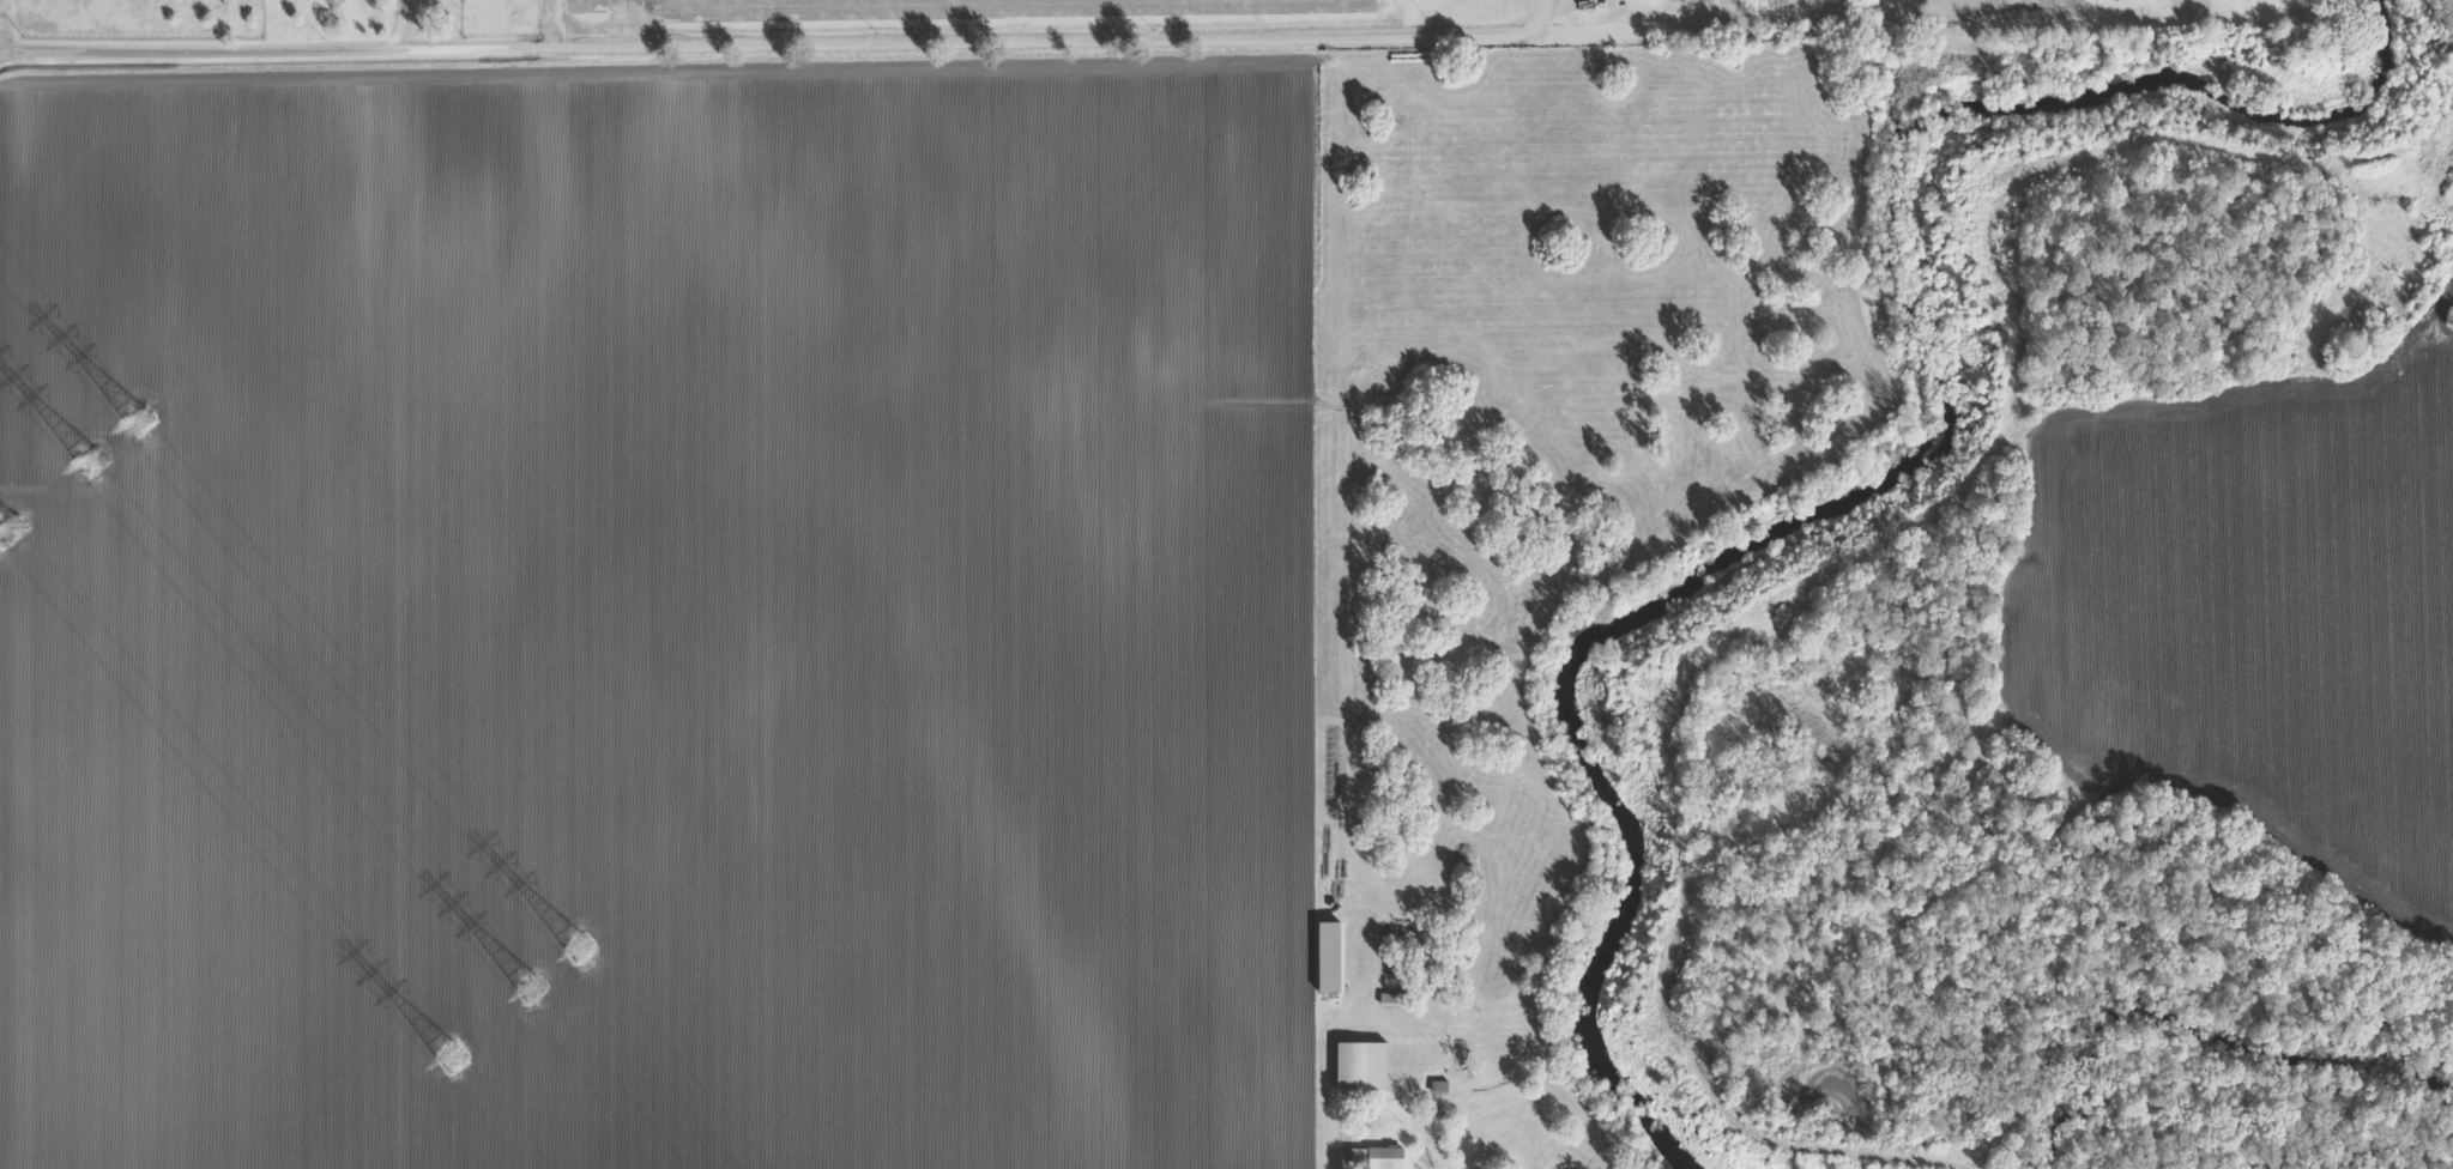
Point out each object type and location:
road: (790, 41)
power tower: (141, 419)
river: (1911, 441)
power tower: (92, 464)
power tower: (16, 532)
power tower: (580, 949)
building: (1327, 958)
power tower: (532, 991)
power tower: (451, 1058)
building: (1358, 1067)
building: (1437, 1089)
building: (1374, 1158)

